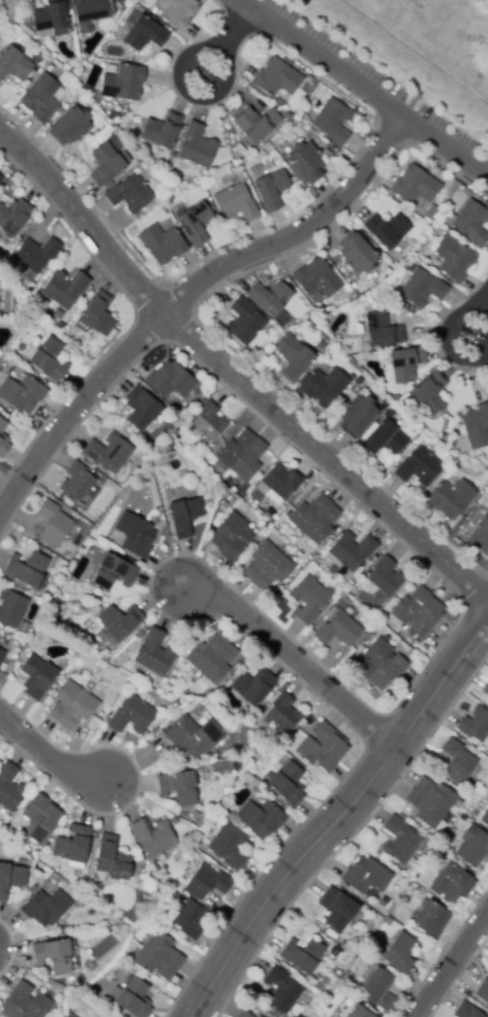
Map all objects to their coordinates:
airport: (486, 0)
building: (11, 7)
building: (90, 10)
building: (177, 12)
building: (52, 15)
road: (233, 28)
building: (143, 32)
road: (224, 55)
building: (14, 63)
road: (390, 66)
building: (277, 77)
building: (123, 83)
road: (363, 89)
building: (41, 98)
building: (315, 105)
building: (332, 121)
building: (257, 123)
building: (71, 126)
building: (162, 130)
building: (197, 146)
building: (306, 161)
building: (105, 164)
building: (0, 175)
building: (1, 177)
building: (416, 185)
building: (271, 190)
building: (129, 194)
building: (235, 203)
building: (13, 217)
road: (82, 222)
building: (194, 222)
building: (471, 223)
building: (386, 230)
road: (298, 234)
building: (162, 244)
building: (356, 254)
building: (37, 256)
building: (454, 258)
building: (317, 278)
building: (65, 288)
building: (422, 288)
building: (270, 298)
road: (483, 303)
building: (96, 315)
building: (245, 322)
building: (382, 330)
road: (444, 335)
building: (48, 359)
building: (294, 359)
building: (406, 364)
building: (170, 380)
building: (359, 380)
building: (323, 386)
building: (22, 393)
building: (429, 394)
building: (384, 405)
building: (141, 408)
road: (75, 409)
building: (388, 413)
building: (358, 416)
building: (208, 422)
building: (476, 426)
building: (385, 439)
building: (3, 440)
building: (168, 446)
building: (109, 452)
building: (241, 455)
road: (324, 457)
building: (418, 467)
building: (183, 475)
building: (77, 481)
building: (281, 483)
building: (451, 498)
building: (223, 507)
building: (487, 508)
building: (184, 516)
building: (313, 519)
building: (54, 524)
building: (479, 534)
building: (136, 535)
building: (231, 536)
building: (352, 550)
building: (267, 566)
building: (26, 569)
building: (113, 572)
building: (385, 577)
building: (308, 599)
building: (12, 610)
building: (418, 612)
building: (118, 623)
building: (339, 630)
building: (154, 653)
building: (2, 655)
building: (212, 658)
road: (294, 661)
building: (381, 665)
building: (37, 677)
building: (154, 681)
building: (253, 686)
building: (486, 689)
building: (74, 705)
building: (284, 713)
building: (132, 716)
building: (475, 724)
building: (193, 736)
building: (323, 747)
road: (47, 754)
building: (236, 761)
building: (457, 762)
building: (287, 784)
building: (180, 786)
building: (10, 787)
building: (430, 801)
road: (340, 815)
building: (40, 817)
building: (484, 817)
building: (261, 818)
building: (153, 837)
building: (399, 840)
building: (471, 845)
building: (73, 846)
building: (228, 846)
building: (111, 859)
building: (366, 876)
building: (11, 879)
building: (207, 882)
building: (452, 883)
building: (46, 907)
building: (339, 909)
building: (189, 918)
building: (431, 919)
building: (400, 952)
building: (53, 955)
building: (302, 955)
building: (159, 956)
road: (452, 967)
building: (379, 989)
building: (281, 990)
building: (482, 992)
building: (132, 998)
building: (25, 1003)
building: (467, 1011)
building: (358, 1012)
building: (65, 1014)
building: (242, 1014)
building: (258, 1016)

